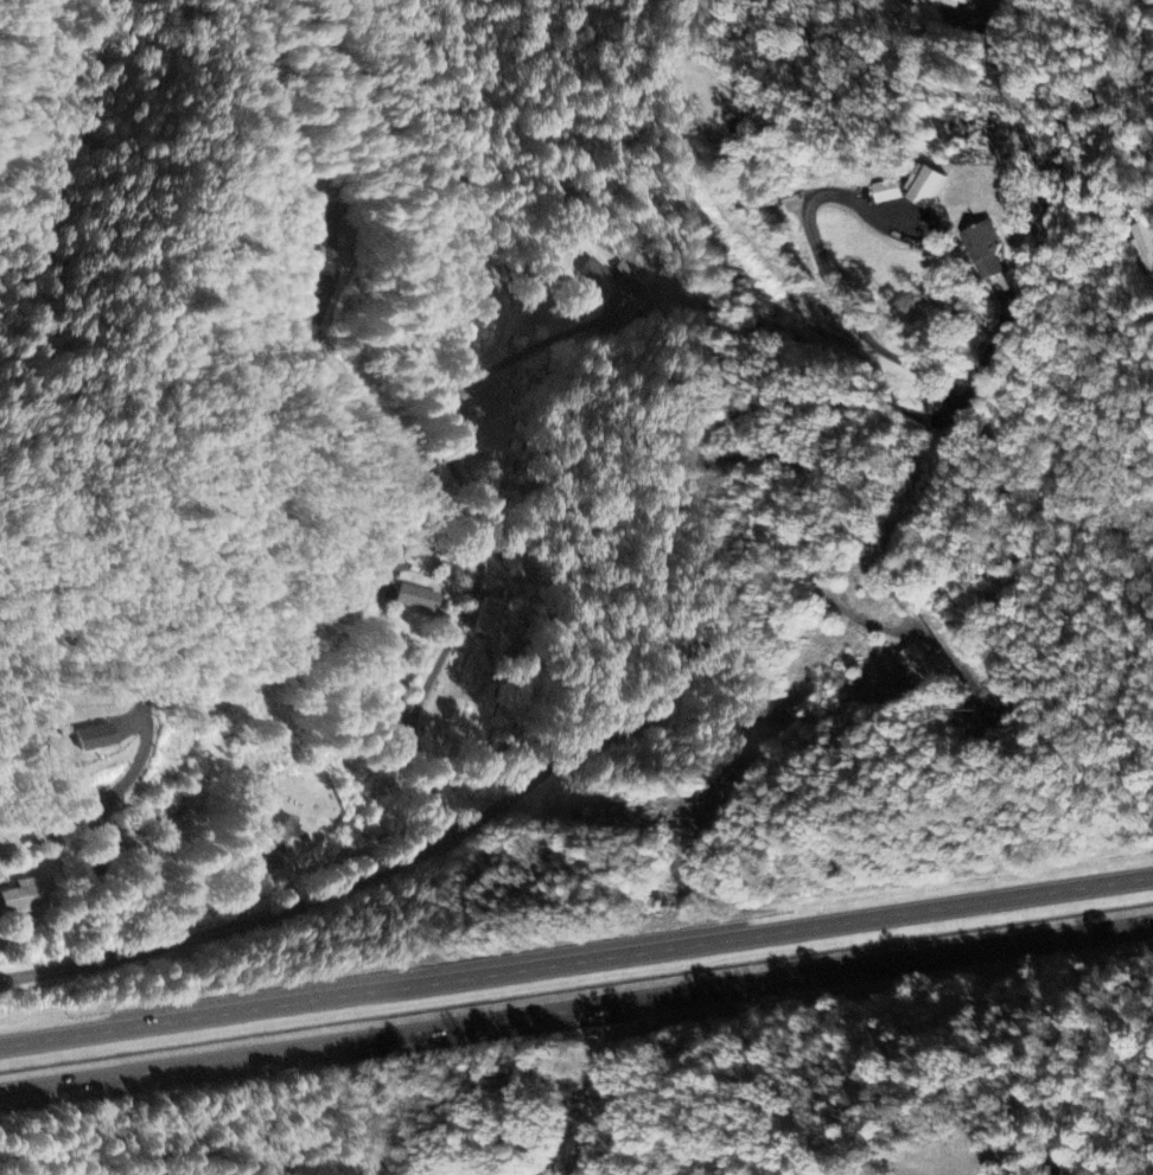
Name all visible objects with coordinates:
building: (992, 11)
building: (919, 189)
building: (880, 192)
building: (333, 229)
building: (1141, 240)
building: (982, 244)
building: (601, 273)
building: (631, 288)
building: (452, 343)
building: (450, 363)
road: (472, 387)
road: (869, 402)
road: (383, 423)
road: (753, 456)
building: (441, 564)
building: (421, 595)
road: (394, 609)
building: (491, 614)
building: (917, 658)
road: (428, 689)
building: (96, 740)
building: (181, 809)
building: (282, 830)
building: (0, 870)
road: (368, 874)
building: (26, 893)
road: (575, 959)
road: (576, 1009)
building: (1047, 1170)

